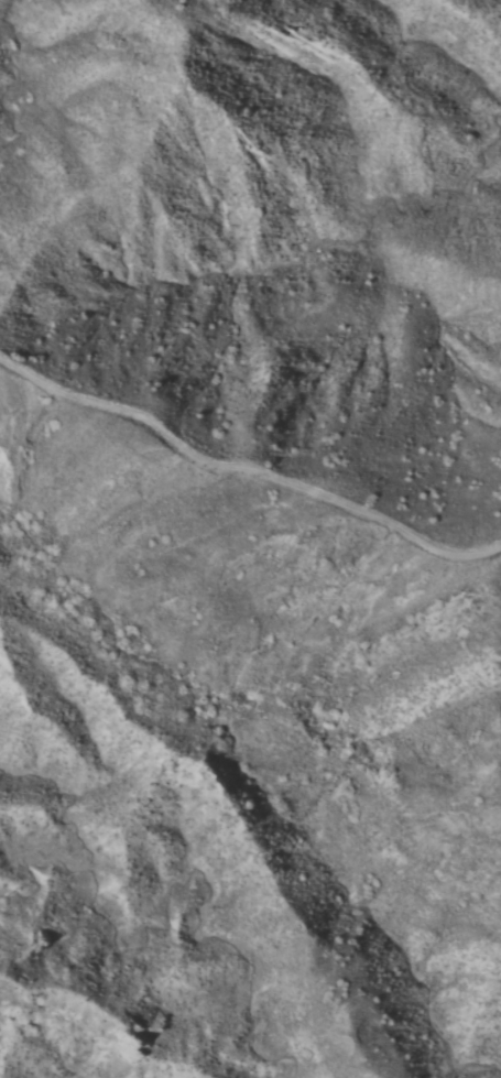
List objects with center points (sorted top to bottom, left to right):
road: (244, 470)

